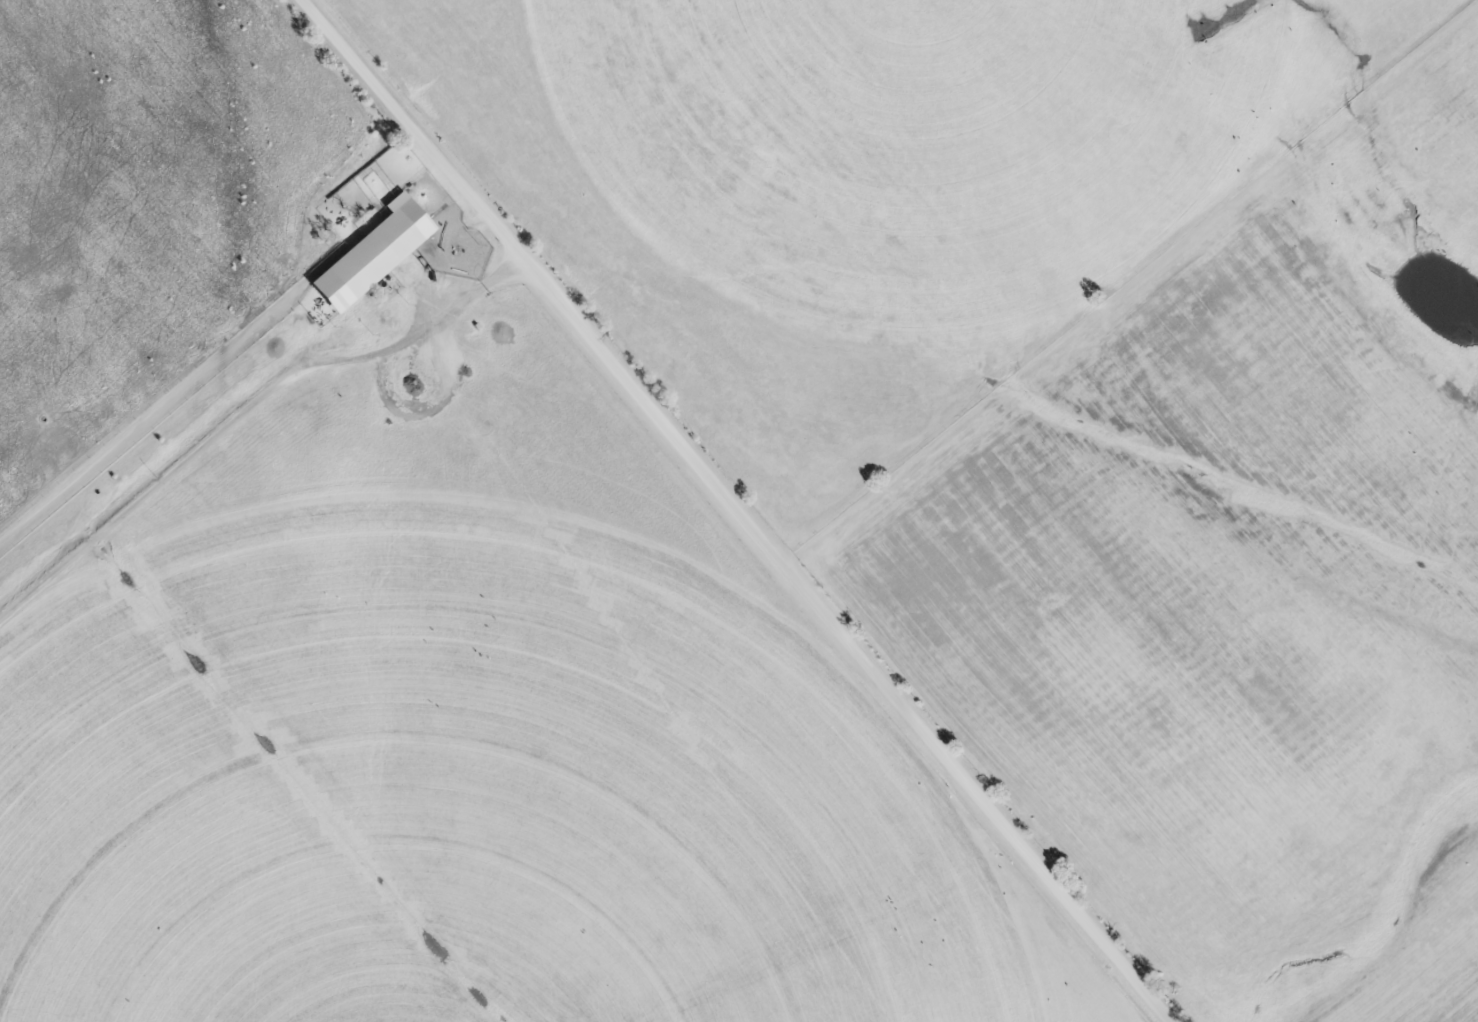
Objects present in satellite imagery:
building: (400, 210)
road: (735, 511)

